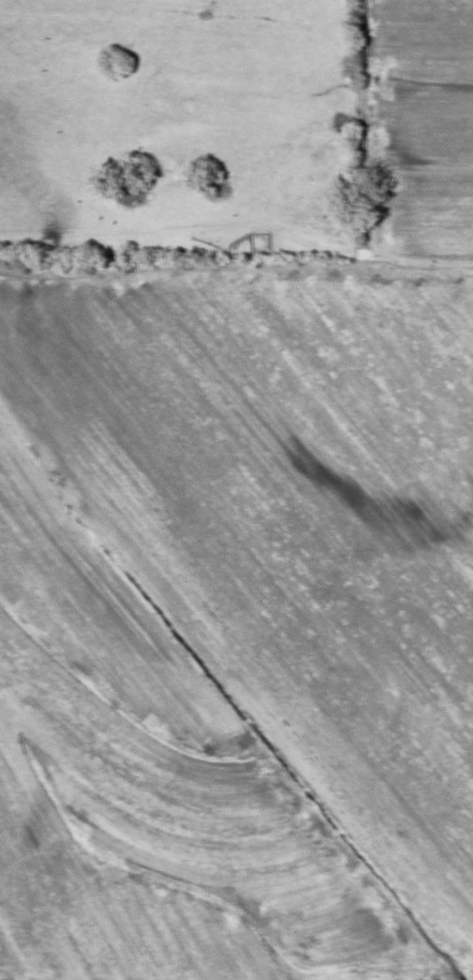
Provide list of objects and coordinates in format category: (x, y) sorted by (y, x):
road: (365, 128)
road: (429, 255)

